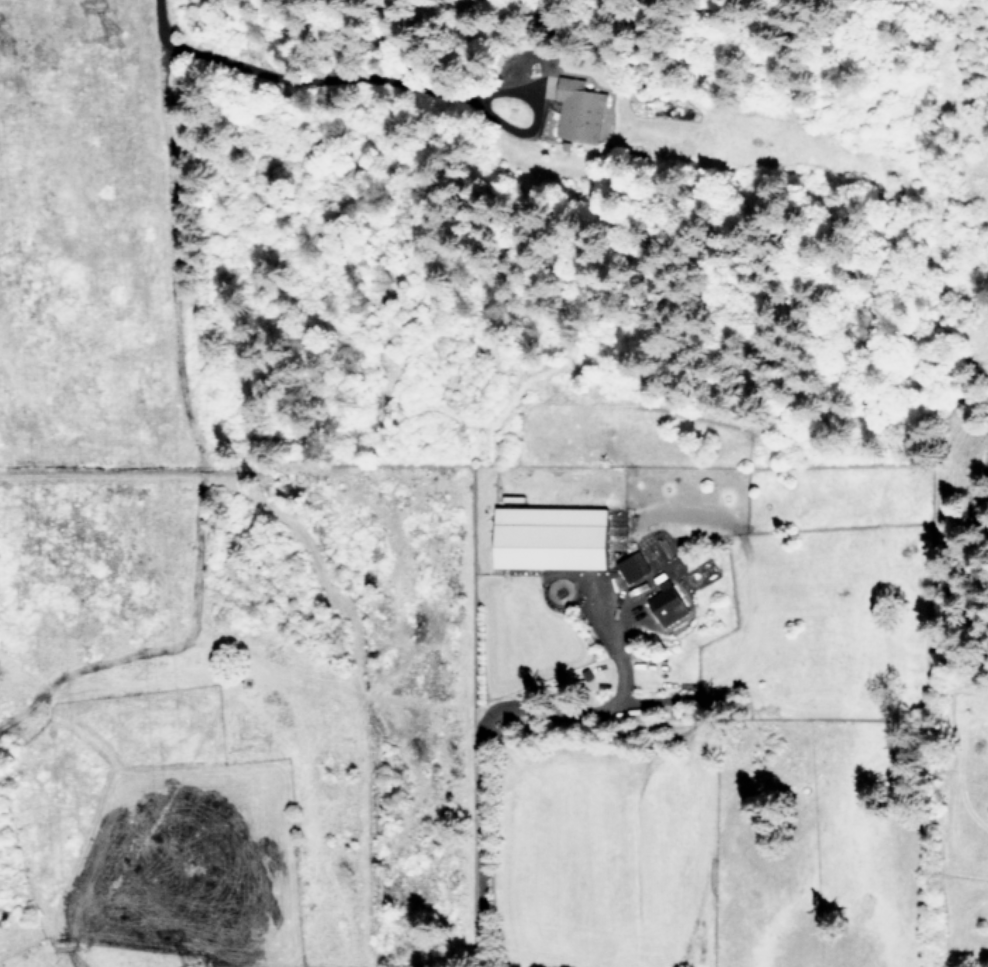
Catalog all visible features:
power tower: (125, 51)
power tower: (18, 63)
road: (289, 75)
building: (580, 110)
road: (528, 116)
building: (551, 537)
building: (633, 566)
building: (667, 603)
road: (479, 731)

